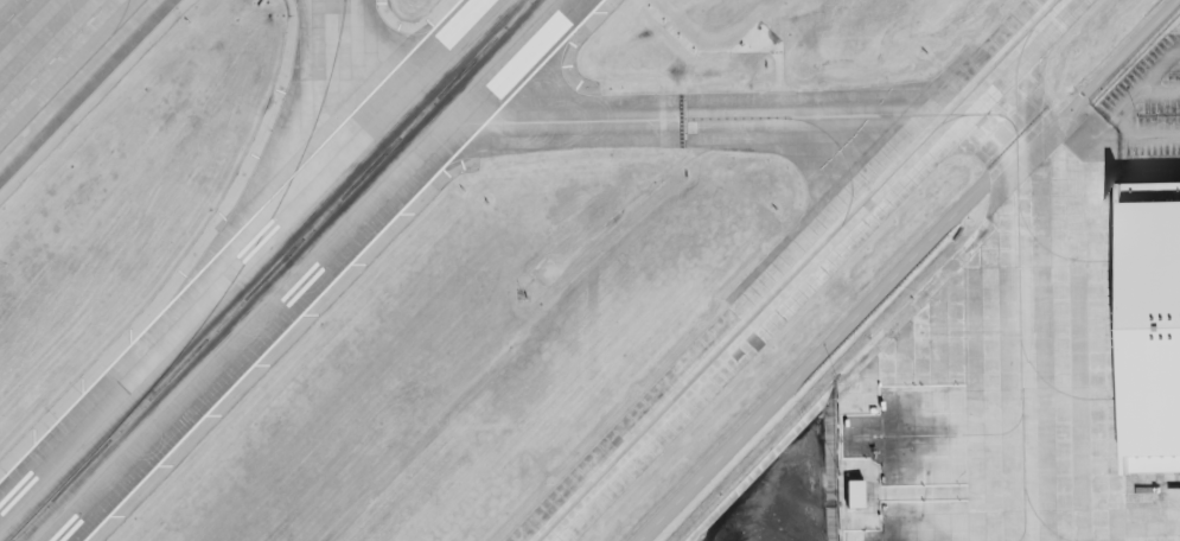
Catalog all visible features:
airport taxiway: (344, 6)
airport taxiway: (119, 20)
road: (1179, 50)
airport apron: (49, 51)
airport taxiway: (72, 76)
road: (1156, 96)
road: (1083, 97)
parking lot: (1149, 101)
road: (1123, 107)
airport taxiway: (696, 117)
airport taxiway: (951, 117)
airport taxiway: (841, 148)
building: (1156, 176)
airport taxiway: (274, 208)
airport taxiway: (1051, 250)
airport runway: (270, 269)
airport taxiway: (797, 269)
airport: (589, 270)
airport taxiway: (1019, 280)
building: (1147, 325)
road: (810, 363)
airport apron: (1006, 386)
airport taxiway: (1053, 387)
airport taxiway: (955, 433)
building: (855, 494)
airport taxiway: (1037, 518)

